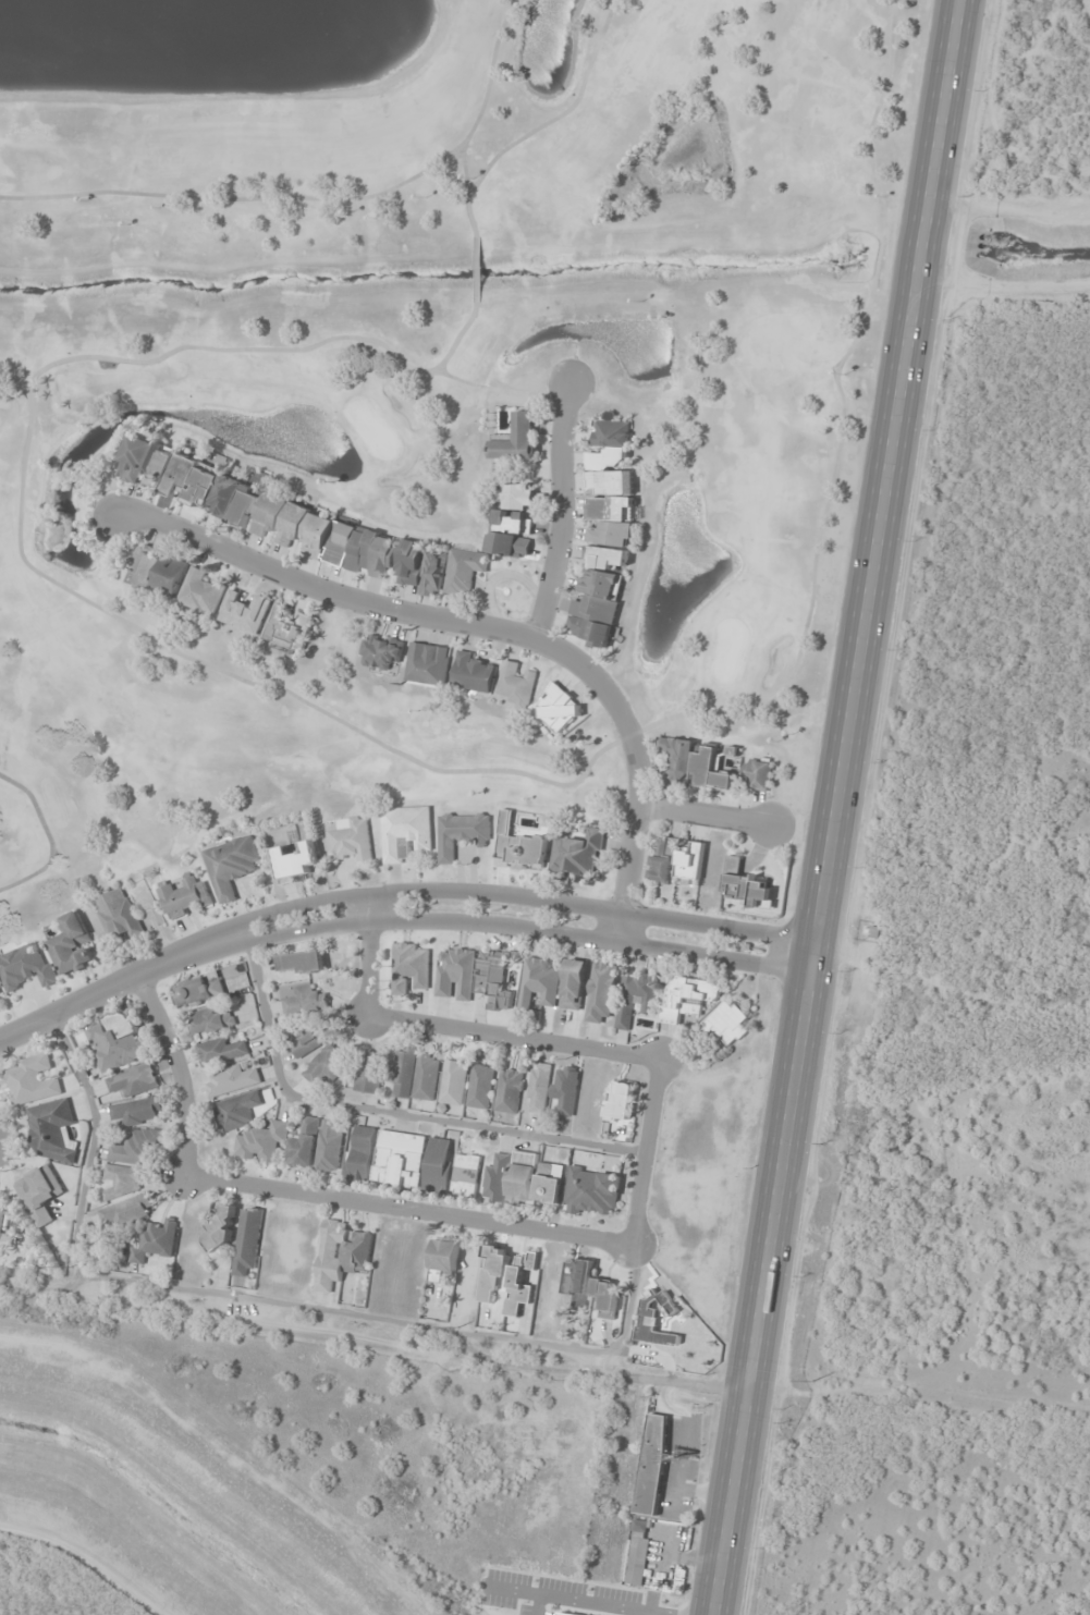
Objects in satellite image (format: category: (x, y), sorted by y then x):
building: (516, 439)
building: (611, 484)
building: (518, 497)
road: (563, 509)
building: (260, 510)
building: (511, 534)
building: (411, 563)
building: (155, 571)
building: (452, 571)
building: (204, 592)
building: (598, 595)
building: (245, 612)
road: (481, 627)
building: (289, 628)
building: (381, 651)
building: (428, 663)
building: (473, 673)
building: (517, 684)
building: (562, 707)
building: (695, 763)
building: (758, 773)
road: (841, 807)
road: (706, 816)
building: (547, 821)
building: (406, 833)
building: (462, 833)
building: (352, 842)
building: (519, 847)
building: (578, 854)
building: (295, 861)
building: (690, 861)
building: (232, 865)
building: (663, 865)
building: (747, 885)
building: (185, 895)
road: (397, 903)
building: (119, 915)
building: (74, 945)
building: (303, 964)
building: (26, 967)
building: (409, 967)
building: (456, 975)
building: (493, 979)
building: (539, 982)
building: (575, 984)
building: (199, 990)
building: (602, 993)
building: (307, 996)
building: (687, 998)
building: (637, 999)
building: (0, 1002)
building: (213, 1020)
building: (728, 1023)
building: (117, 1041)
building: (307, 1042)
building: (220, 1051)
building: (327, 1065)
building: (369, 1074)
building: (417, 1075)
building: (34, 1080)
building: (135, 1080)
building: (233, 1080)
building: (454, 1084)
building: (481, 1086)
building: (539, 1088)
building: (566, 1089)
building: (510, 1091)
building: (621, 1100)
building: (138, 1111)
building: (241, 1111)
building: (52, 1130)
building: (262, 1141)
building: (305, 1142)
building: (331, 1146)
building: (138, 1147)
building: (362, 1153)
building: (400, 1160)
building: (439, 1165)
building: (467, 1175)
building: (498, 1178)
building: (523, 1178)
building: (124, 1180)
building: (549, 1185)
building: (593, 1191)
building: (40, 1195)
building: (128, 1212)
building: (2, 1218)
building: (221, 1233)
road: (592, 1237)
building: (247, 1240)
building: (157, 1241)
building: (341, 1253)
building: (443, 1259)
building: (494, 1272)
building: (522, 1281)
building: (591, 1287)
road: (377, 1326)
building: (651, 1465)
building: (638, 1557)

